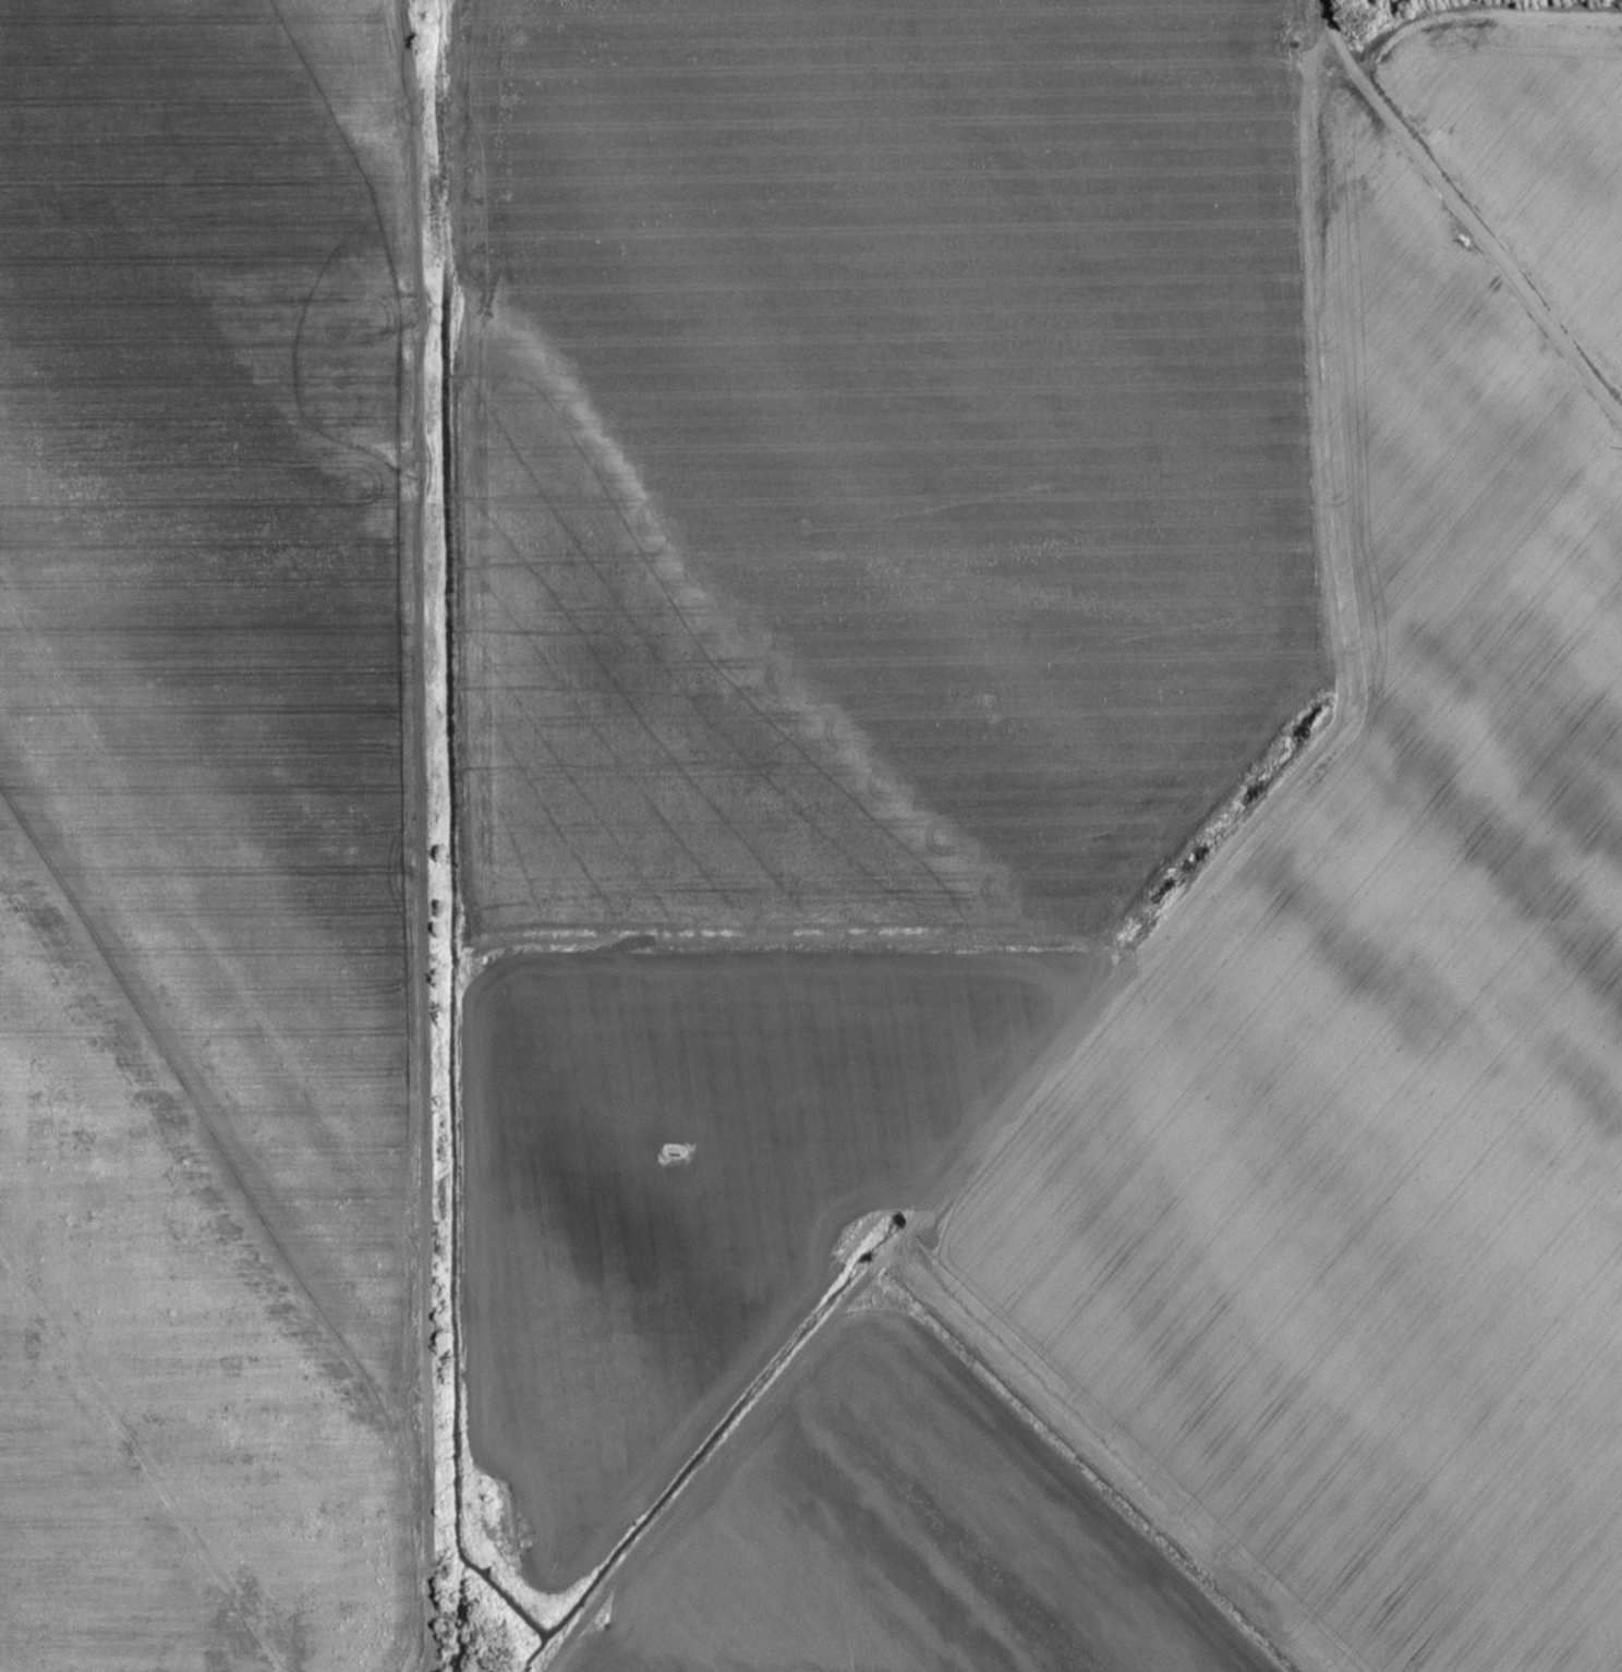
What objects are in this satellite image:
road: (1464, 215)
road: (1309, 325)
road: (289, 348)

